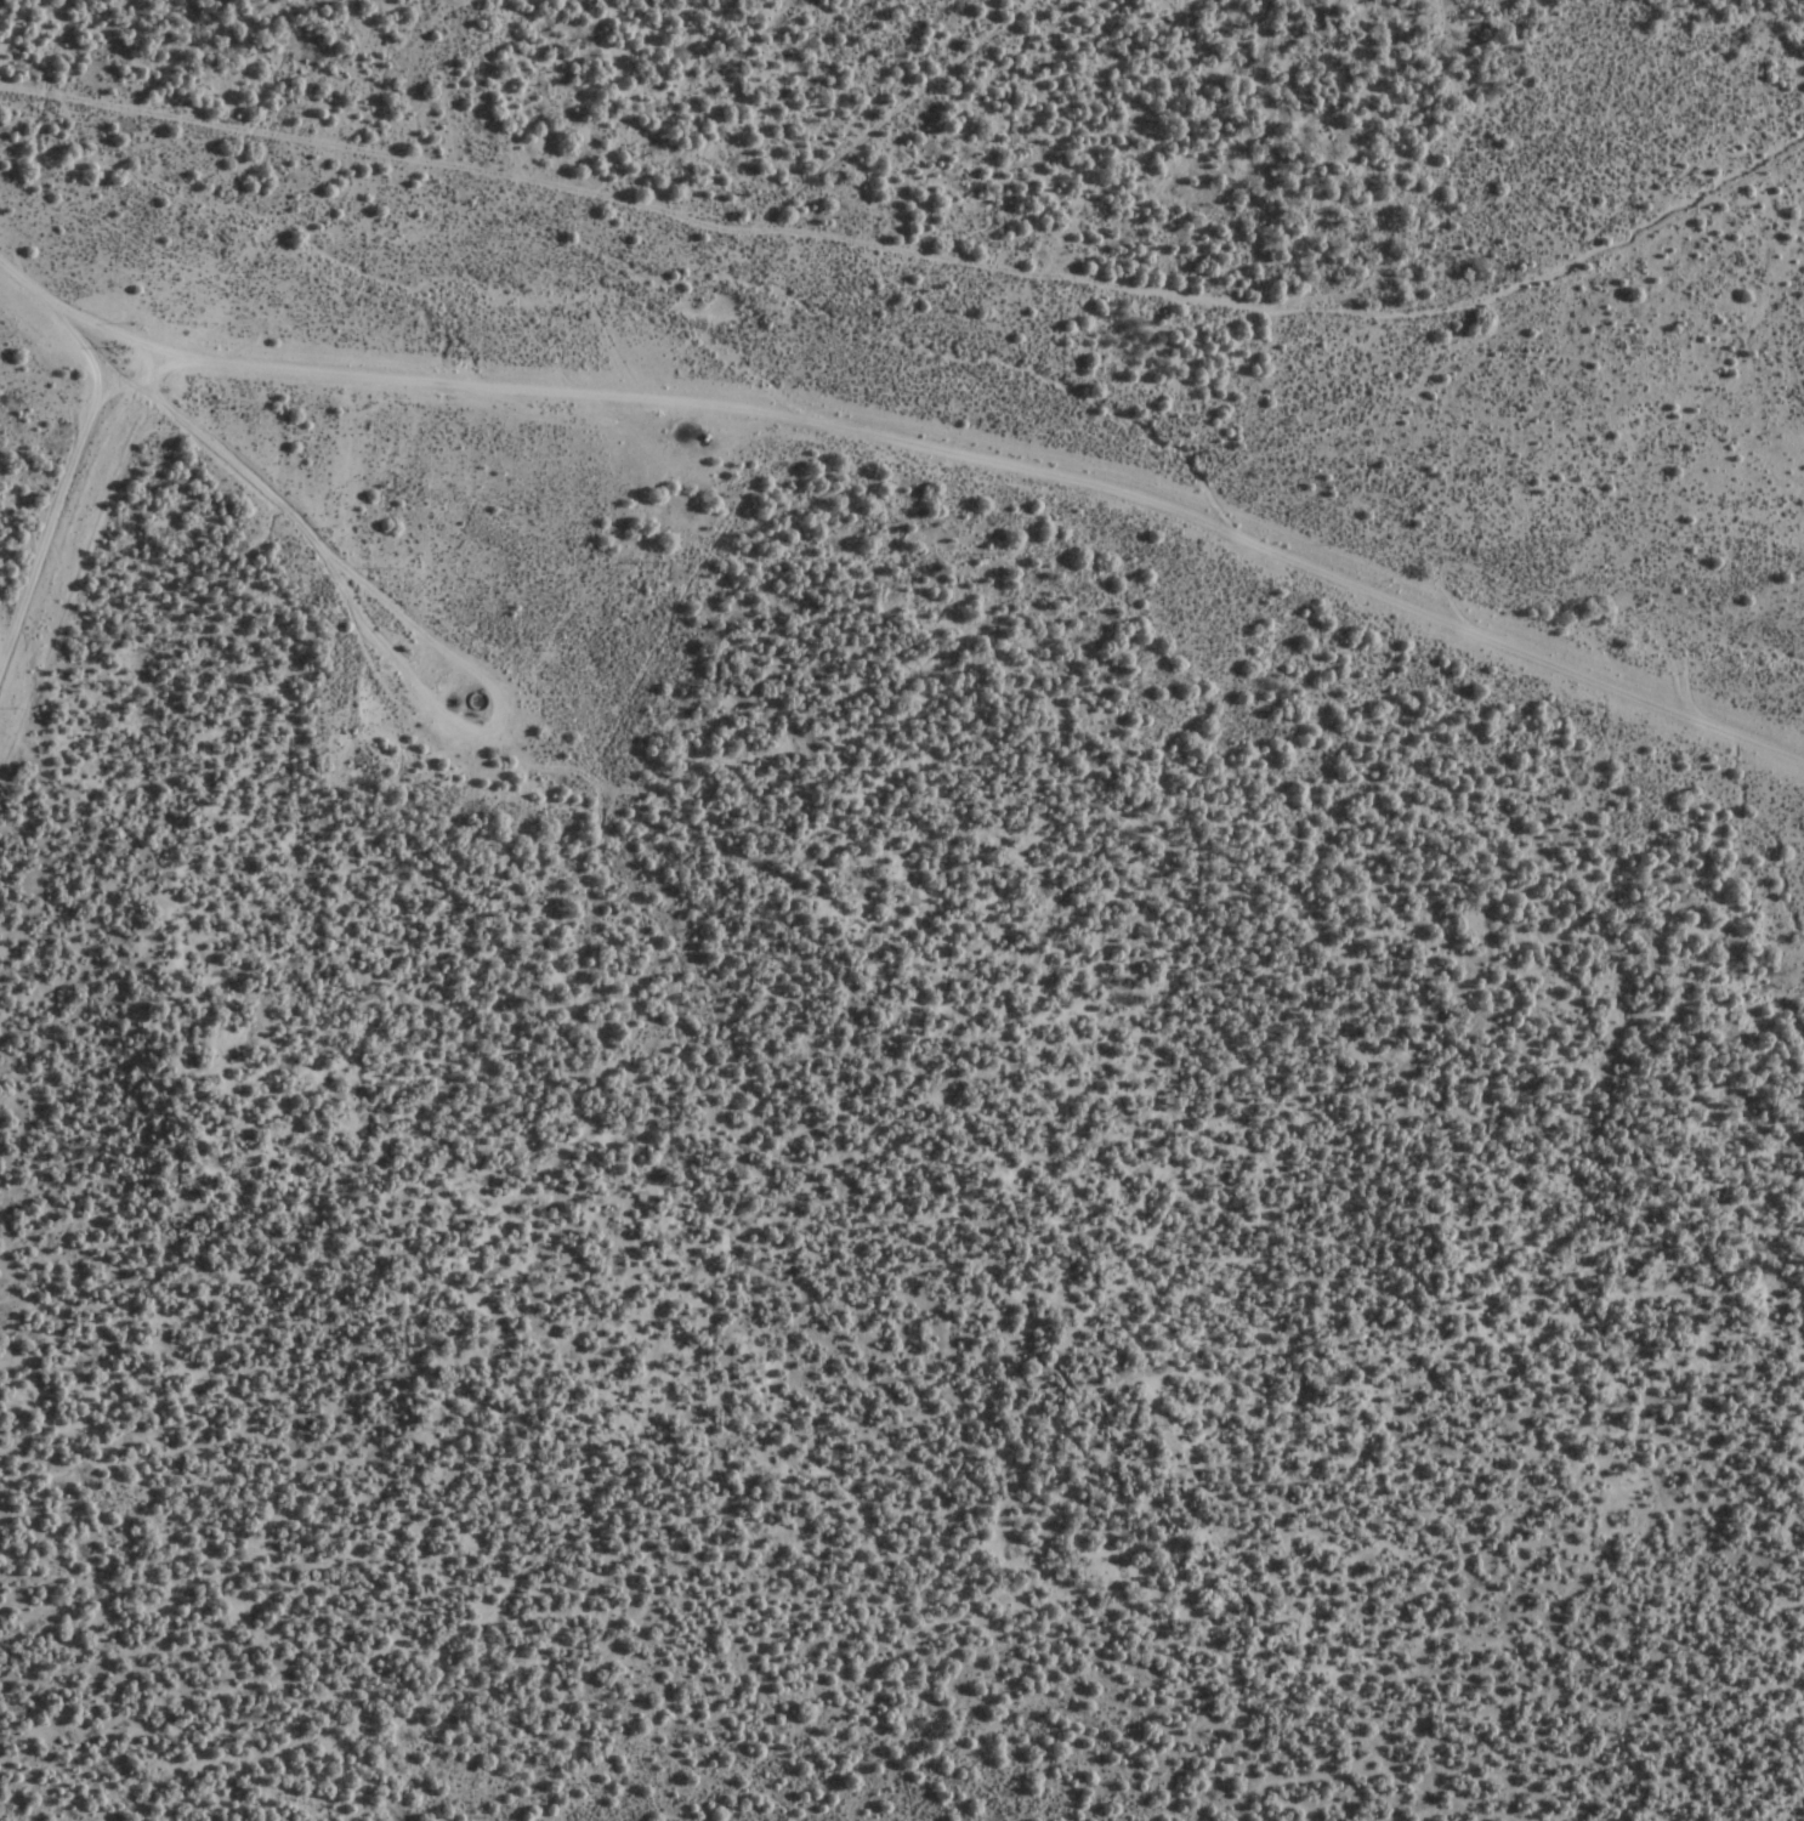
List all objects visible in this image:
road: (920, 257)
road: (66, 356)
road: (989, 504)
road: (287, 533)

